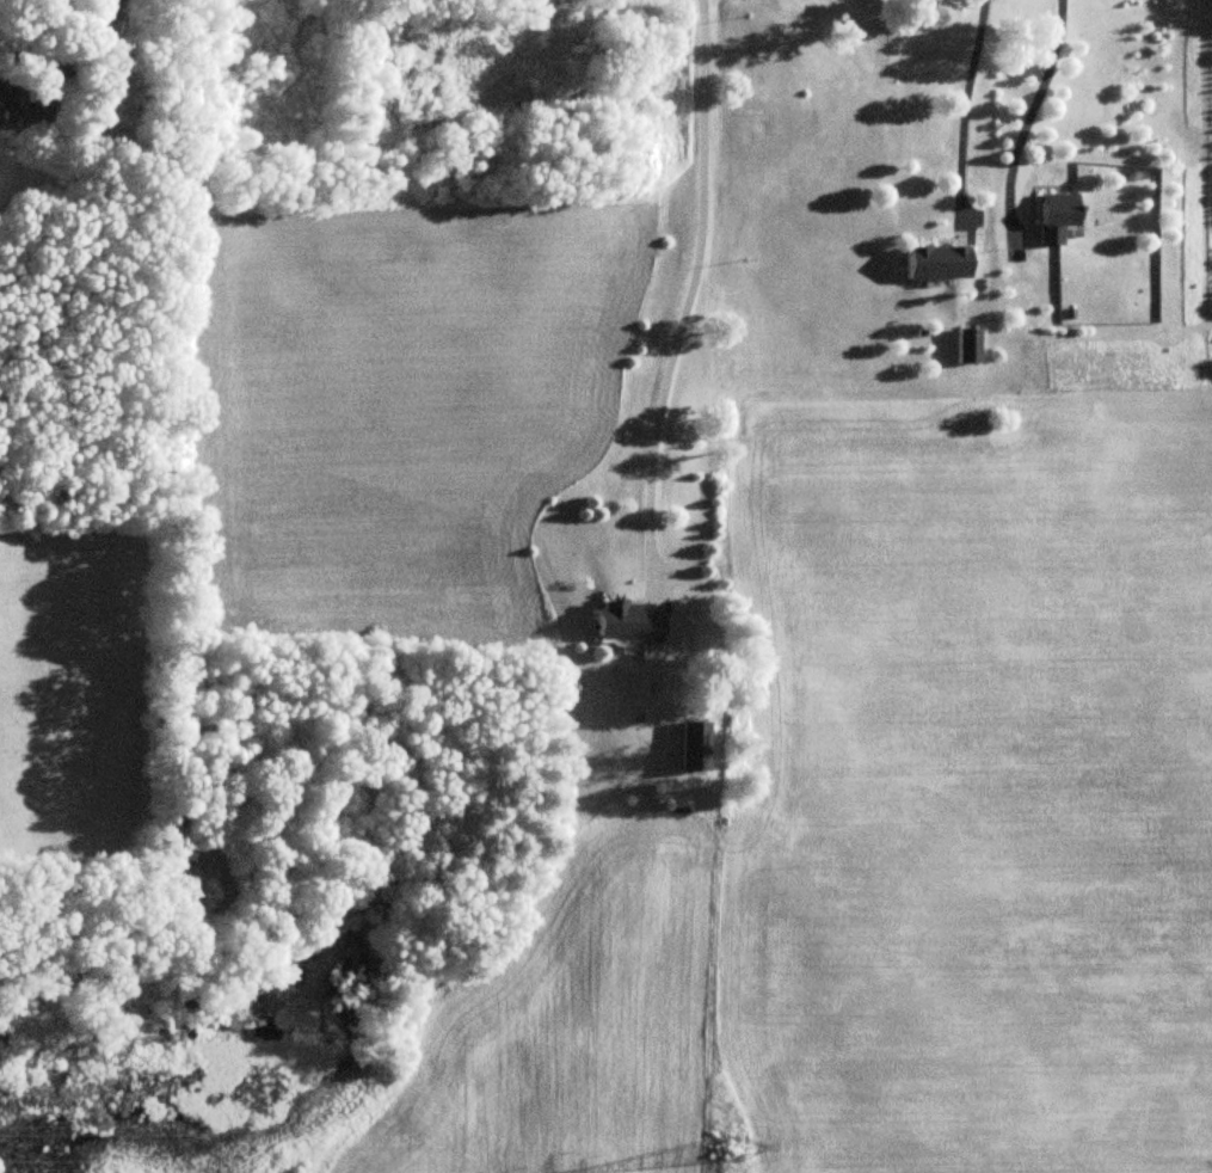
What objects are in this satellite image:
road: (962, 106)
building: (24, 110)
road: (1028, 117)
building: (1056, 219)
building: (936, 263)
road: (684, 295)
building: (967, 346)
building: (623, 622)
building: (693, 748)
power tower: (734, 1154)

